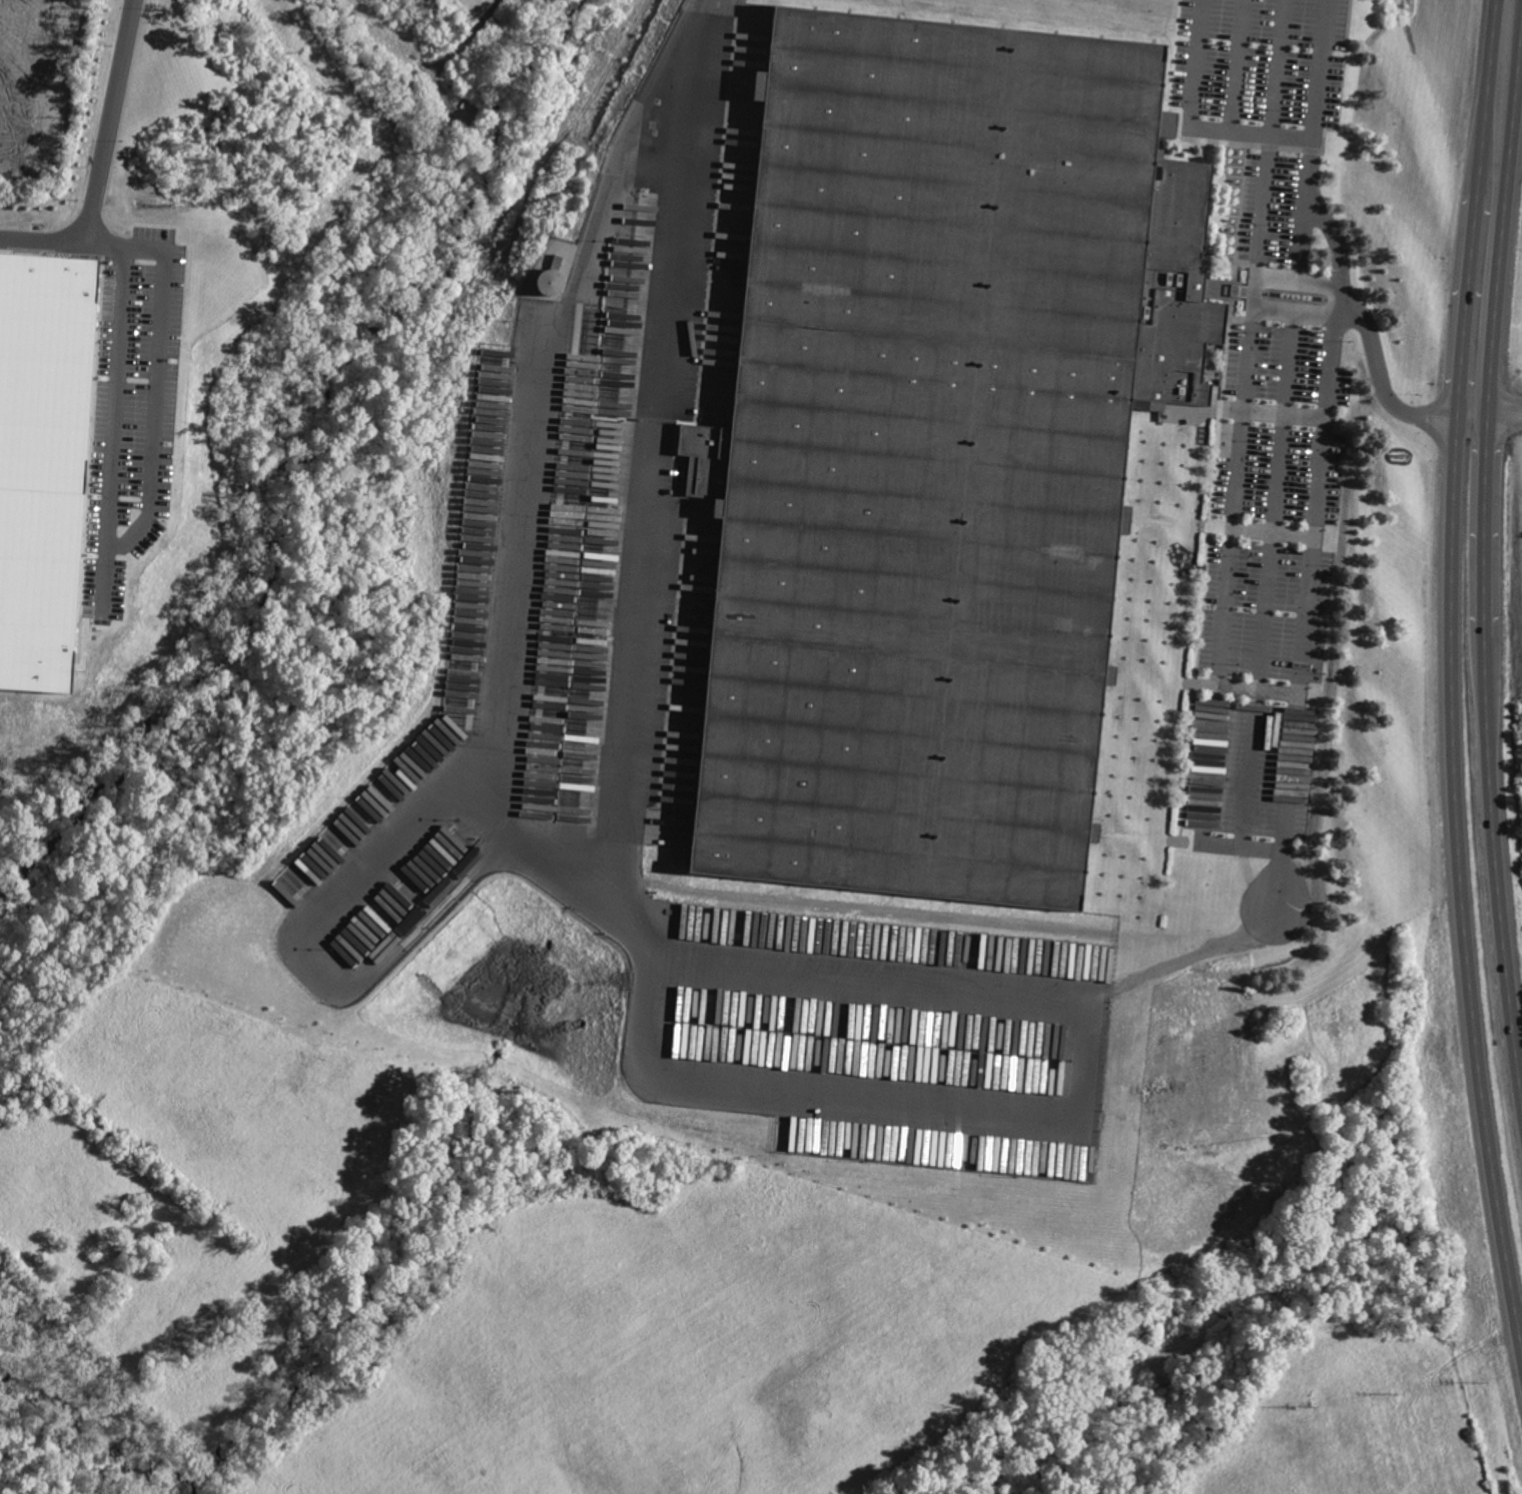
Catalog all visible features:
road: (1237, 64)
road: (1277, 66)
road: (1500, 97)
road: (109, 110)
road: (1191, 123)
road: (1301, 233)
road: (47, 240)
road: (1302, 279)
building: (550, 281)
flagpole: (1284, 293)
flagpole: (1294, 294)
flagpole: (1307, 296)
road: (1480, 306)
road: (1299, 311)
road: (154, 364)
road: (1383, 389)
road: (1475, 417)
road: (110, 423)
road: (657, 448)
building: (940, 448)
road: (1324, 450)
building: (43, 462)
road: (1485, 524)
road: (1232, 526)
road: (1267, 578)
road: (505, 642)
road: (560, 862)
road: (1497, 869)
road: (1462, 874)
road: (1185, 957)
road: (1080, 1117)

